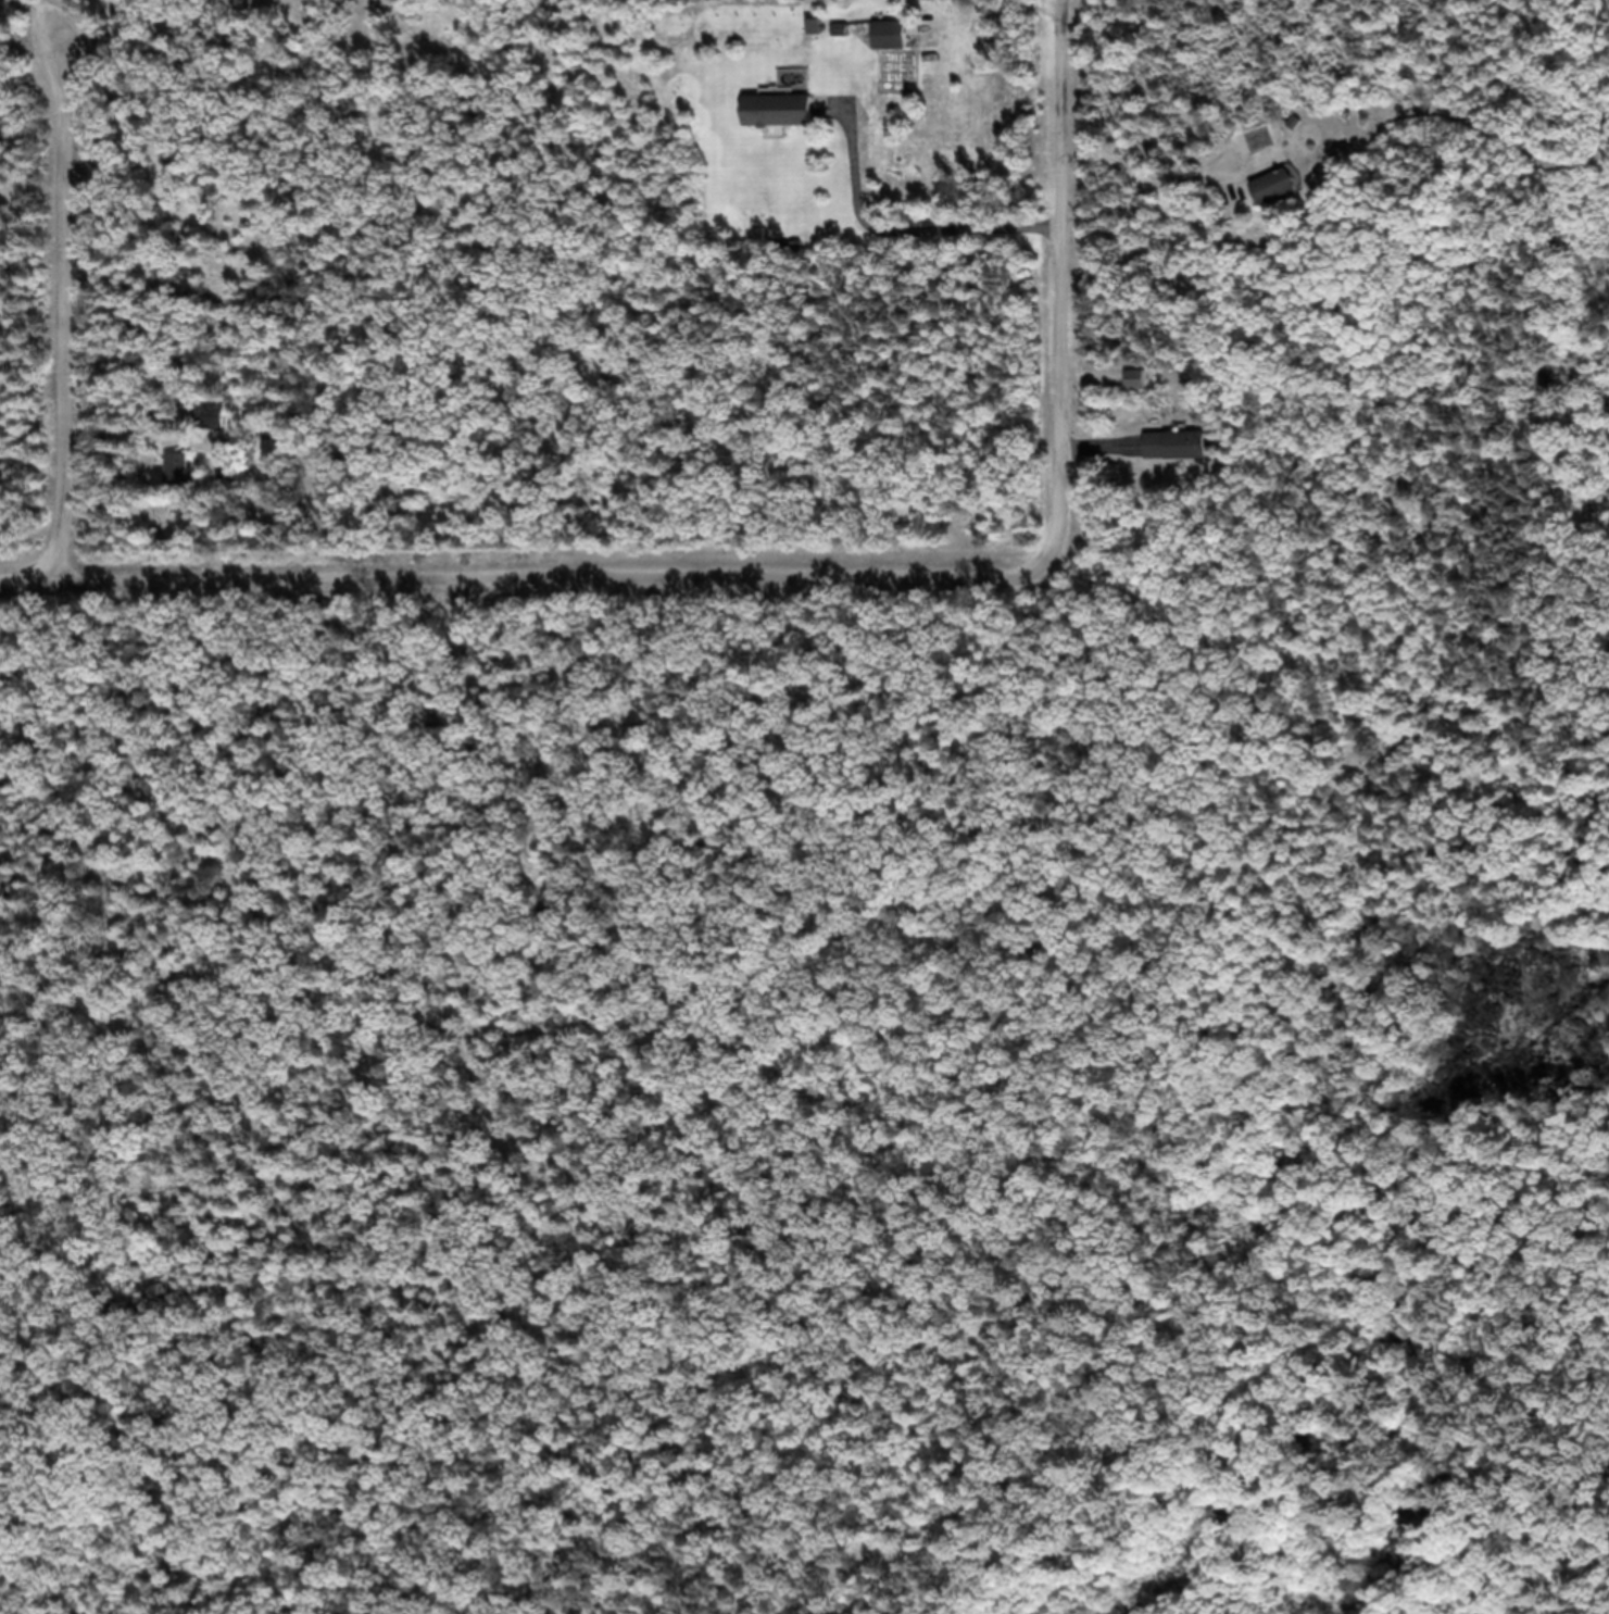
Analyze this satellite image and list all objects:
building: (296, 1)
road: (1058, 17)
road: (1069, 17)
road: (67, 21)
building: (897, 33)
road: (47, 55)
road: (86, 57)
building: (789, 110)
building: (1268, 135)
building: (1268, 147)
road: (1148, 176)
building: (1284, 183)
building: (1285, 196)
road: (903, 229)
road: (1068, 335)
road: (66, 352)
building: (216, 427)
building: (1195, 442)
building: (1162, 443)
building: (184, 473)
road: (494, 581)

